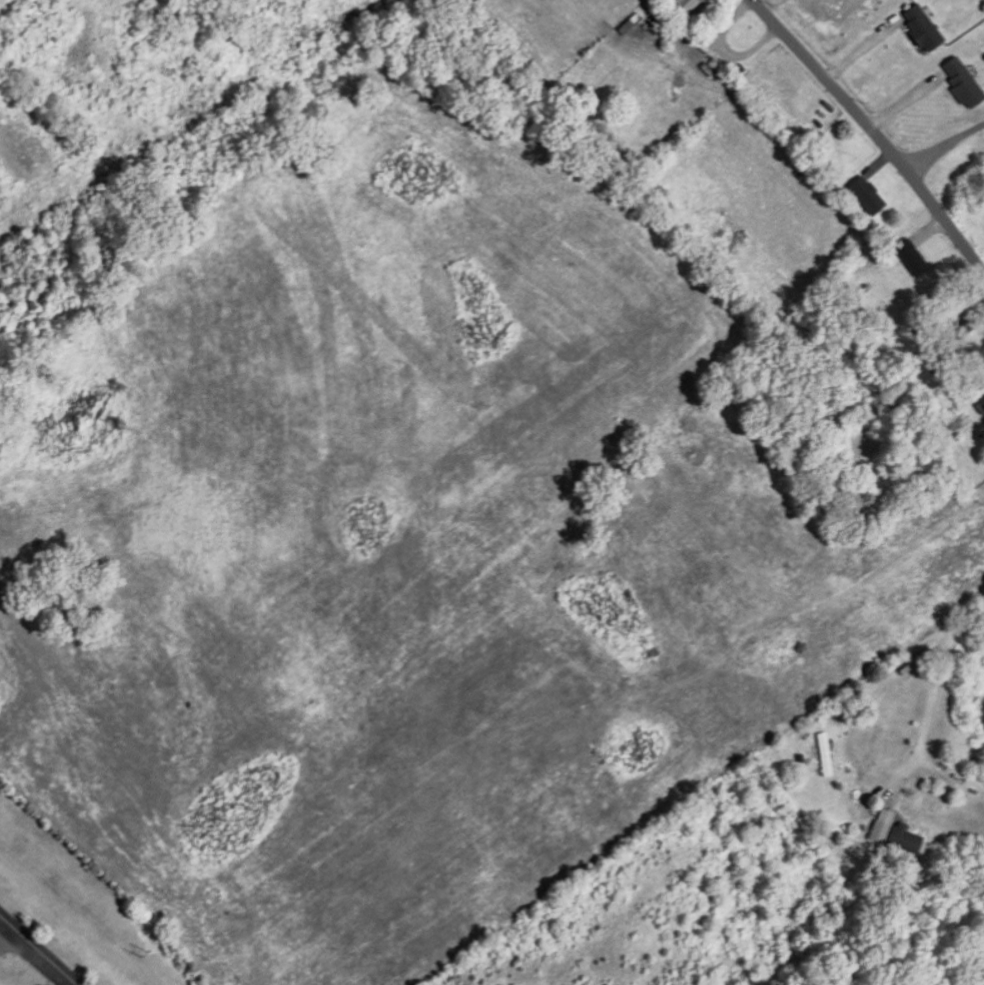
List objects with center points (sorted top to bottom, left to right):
building: (695, 4)
crop: (827, 10)
building: (927, 29)
building: (966, 83)
road: (874, 130)
road: (944, 143)
building: (871, 196)
building: (913, 255)
building: (982, 379)
road: (930, 691)
building: (879, 825)
building: (902, 837)
road: (5, 929)
road: (38, 951)

